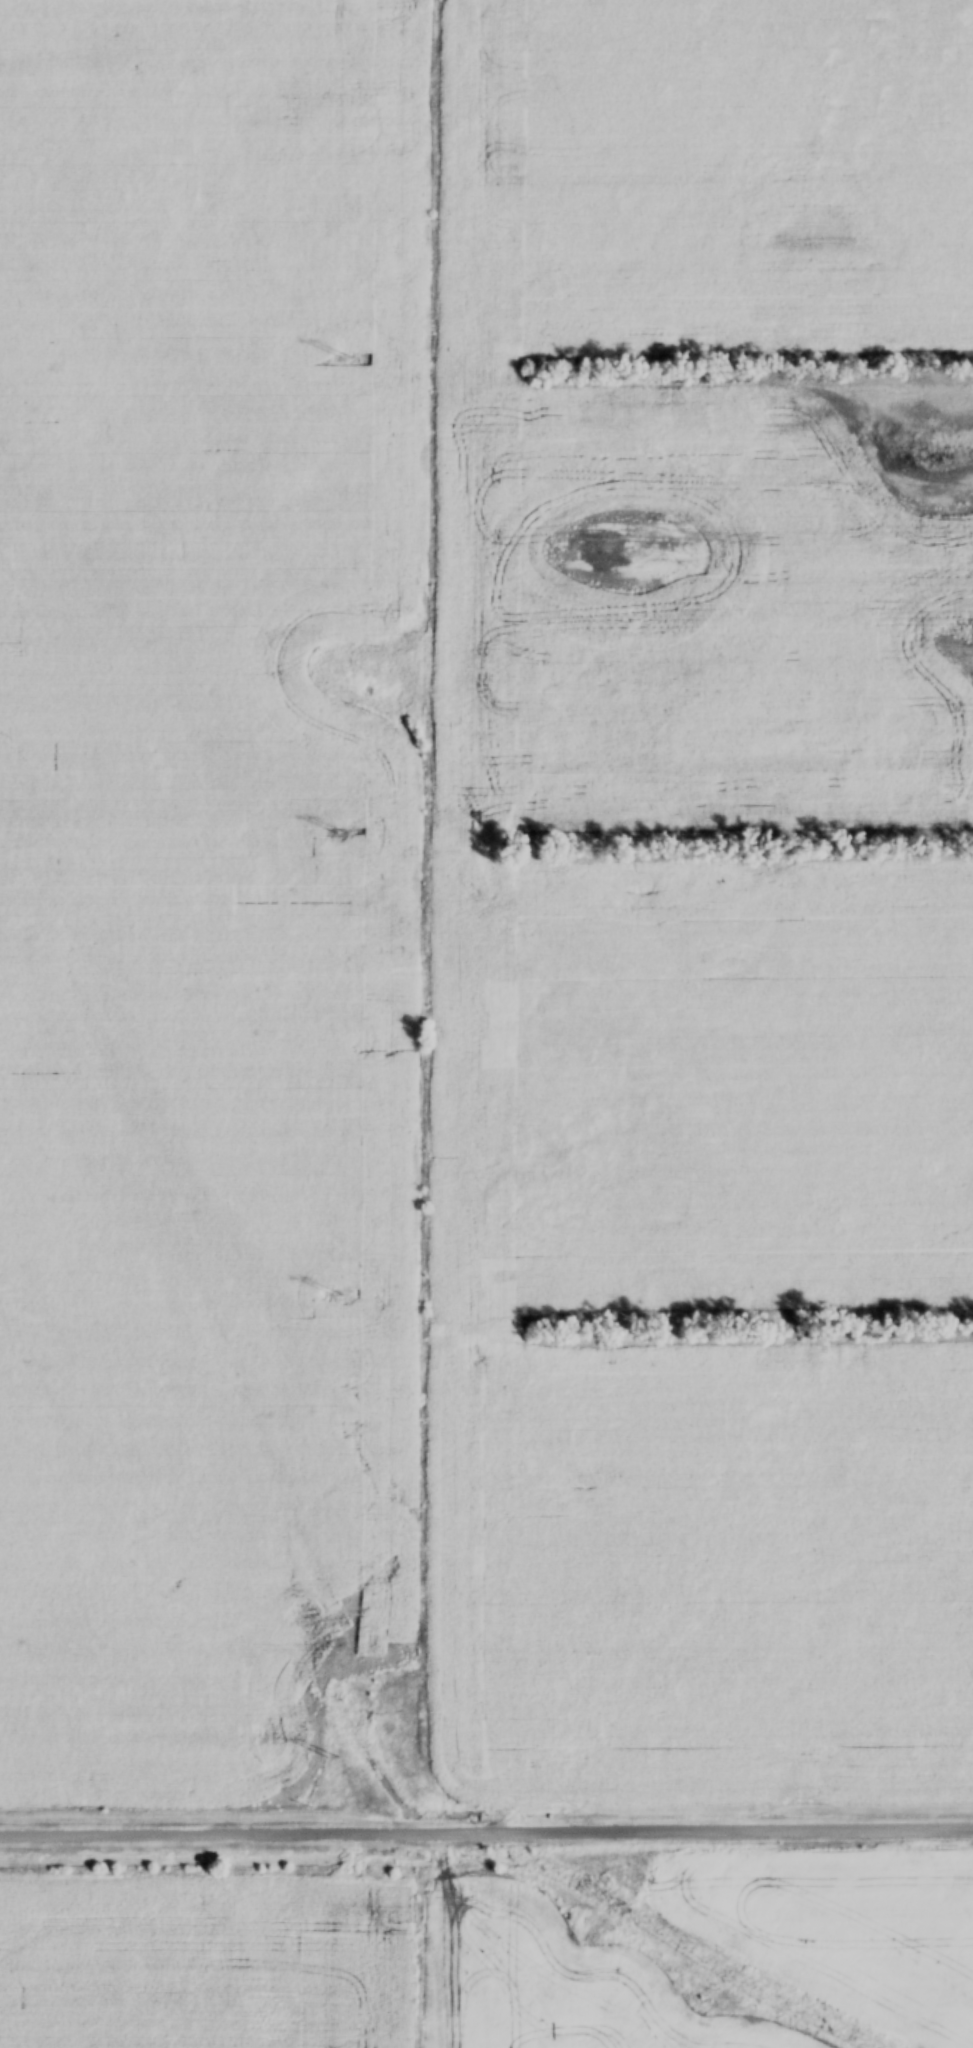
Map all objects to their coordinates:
power tower: (343, 361)
power tower: (343, 834)
power tower: (338, 1294)
power tower: (337, 1756)
road: (486, 1828)

